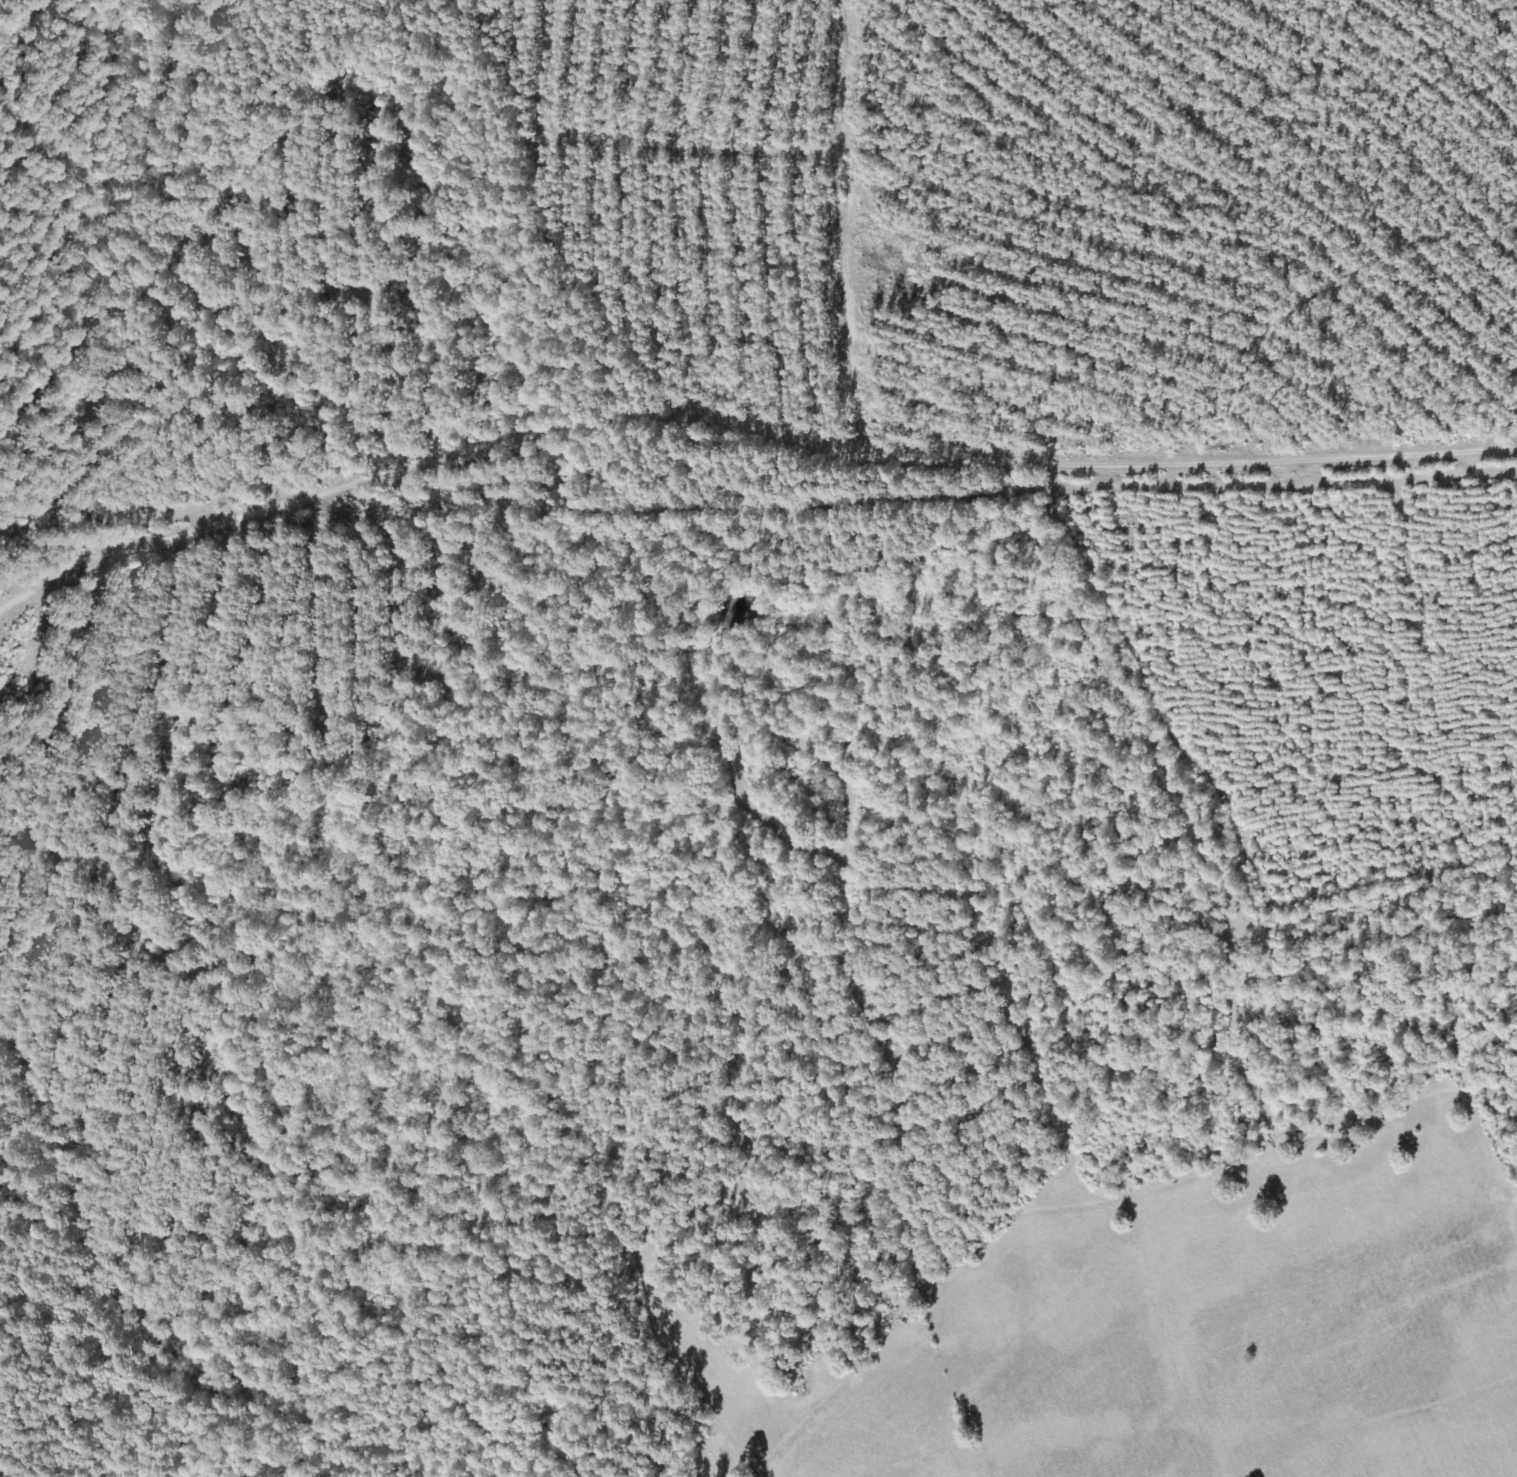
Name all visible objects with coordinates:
road: (743, 410)

